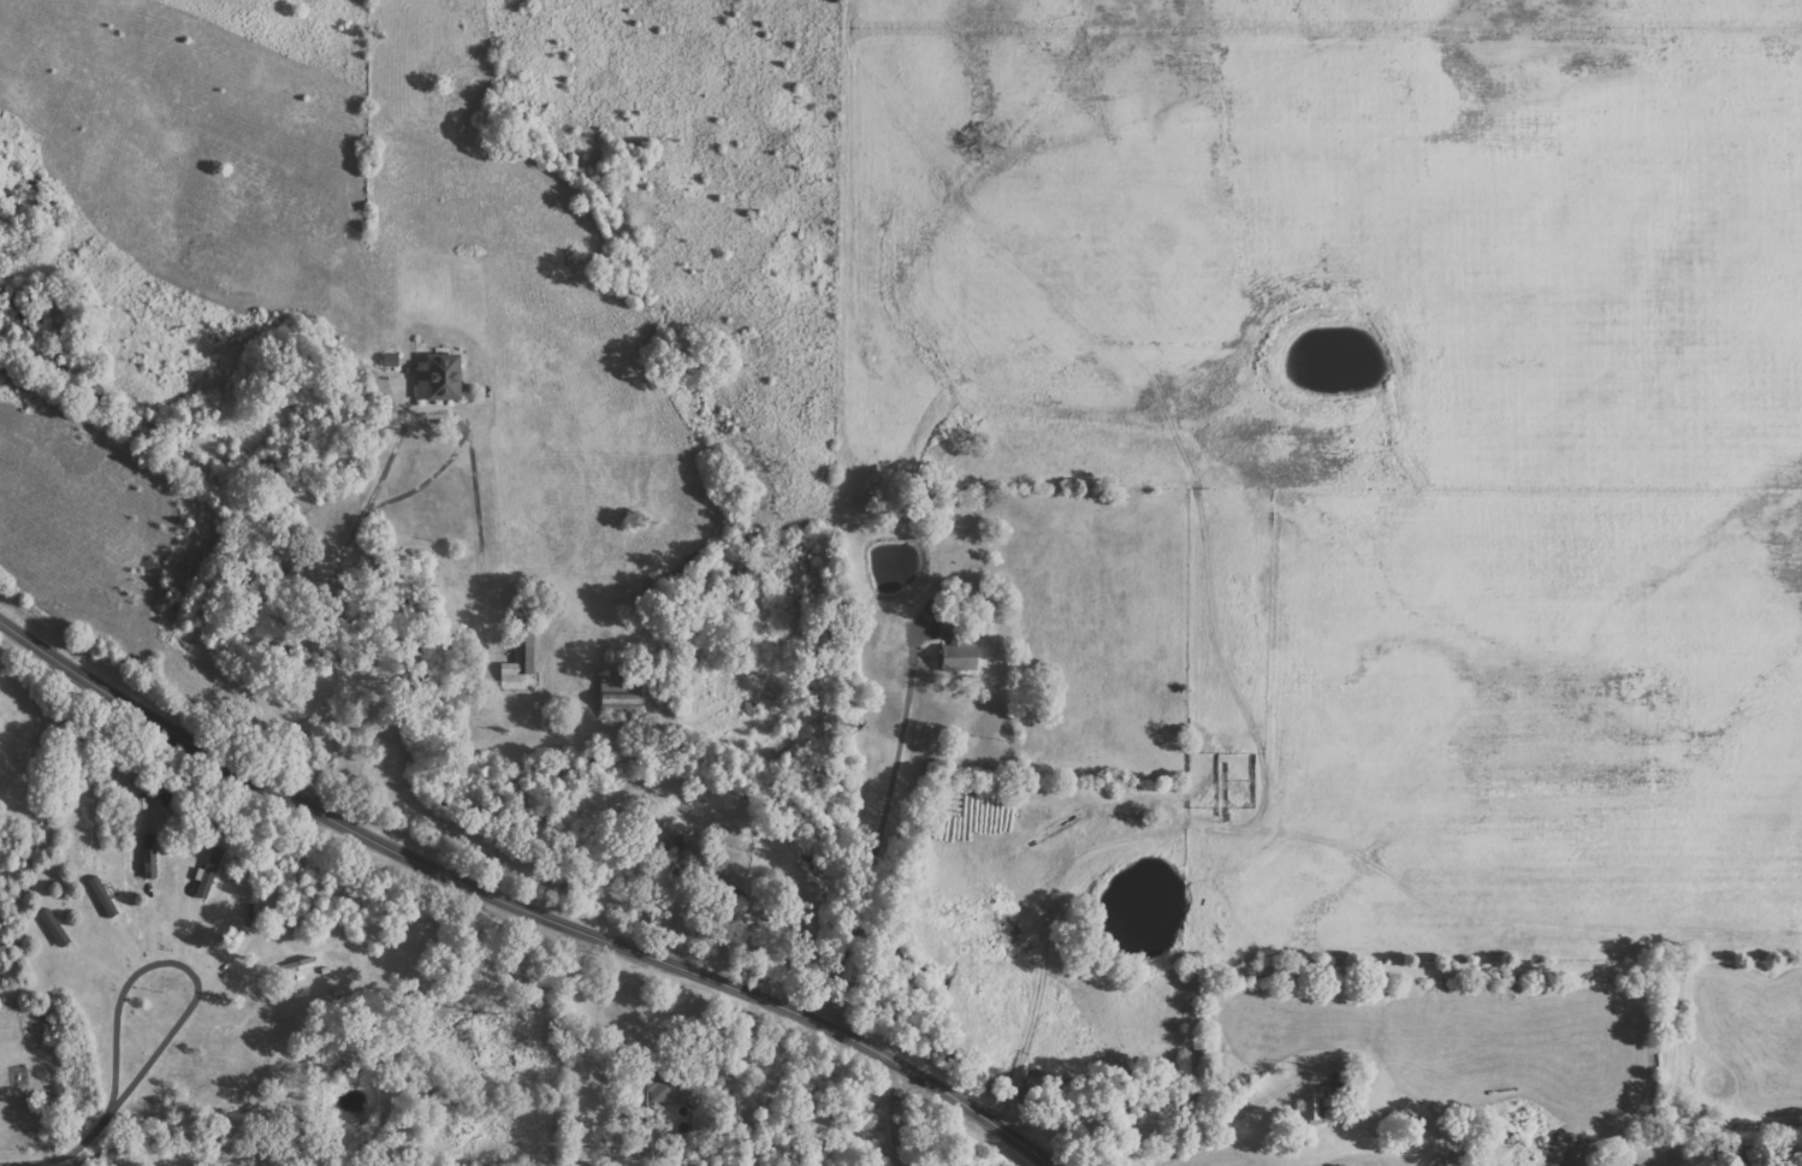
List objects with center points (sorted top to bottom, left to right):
building: (392, 361)
building: (444, 378)
building: (958, 649)
building: (524, 652)
building: (623, 693)
building: (153, 857)
building: (211, 876)
building: (107, 896)
road: (522, 901)
road: (849, 910)
building: (58, 929)
building: (302, 965)
road: (1410, 970)
building: (671, 1089)
building: (1310, 1112)
road: (893, 1113)

